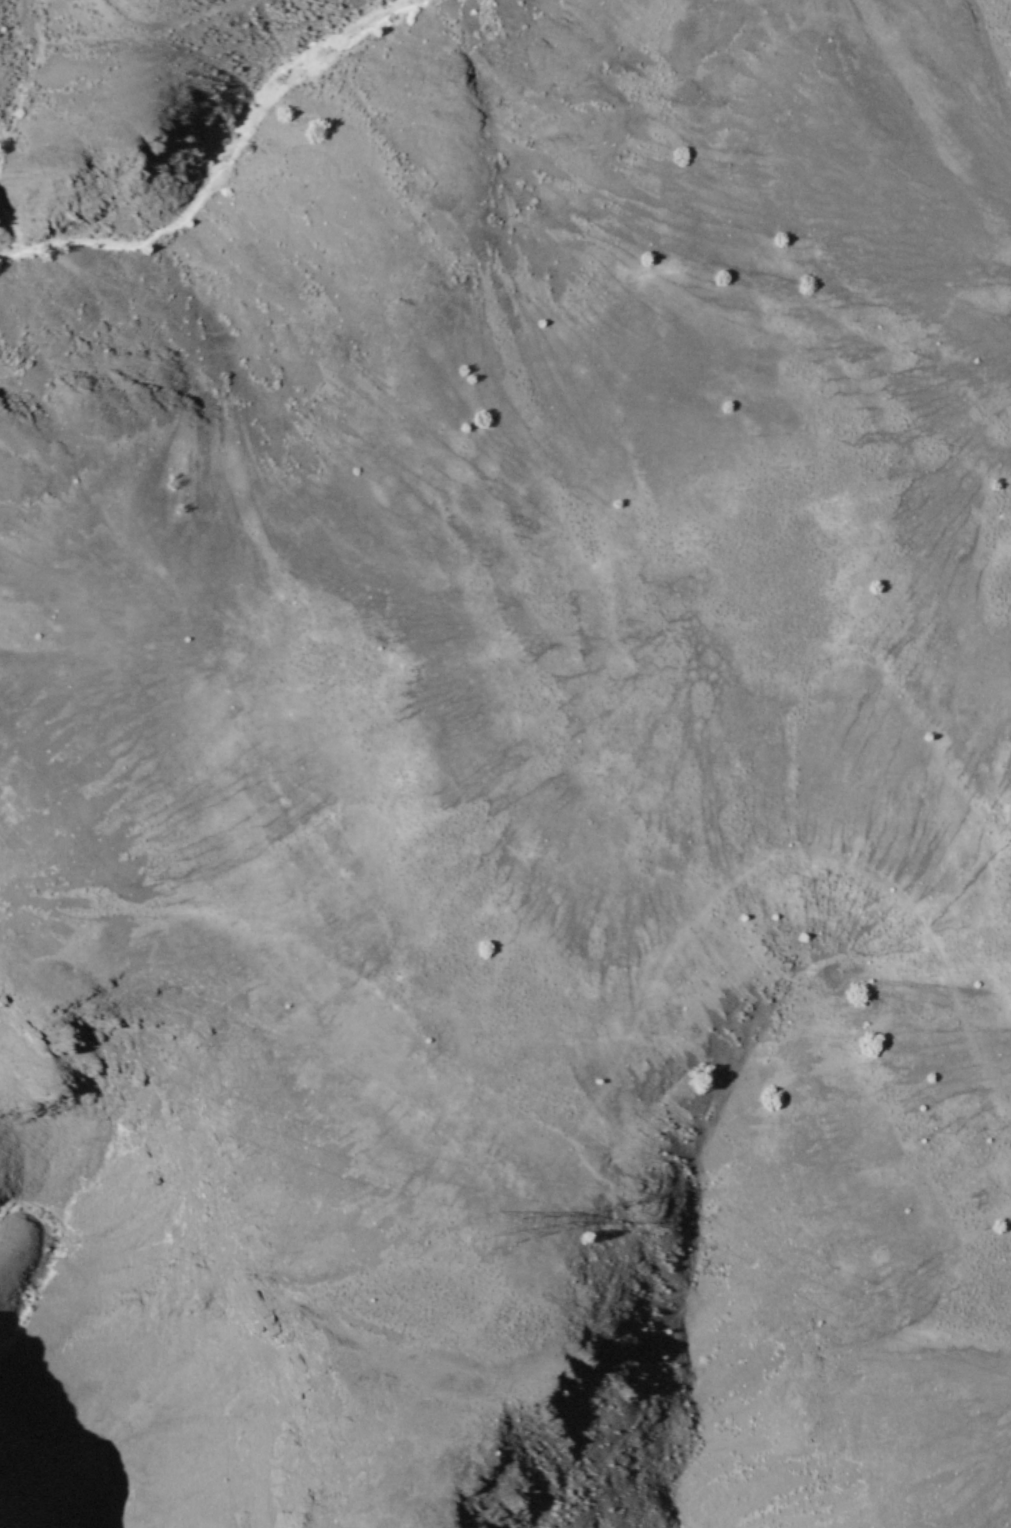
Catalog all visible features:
power tower: (524, 1263)

